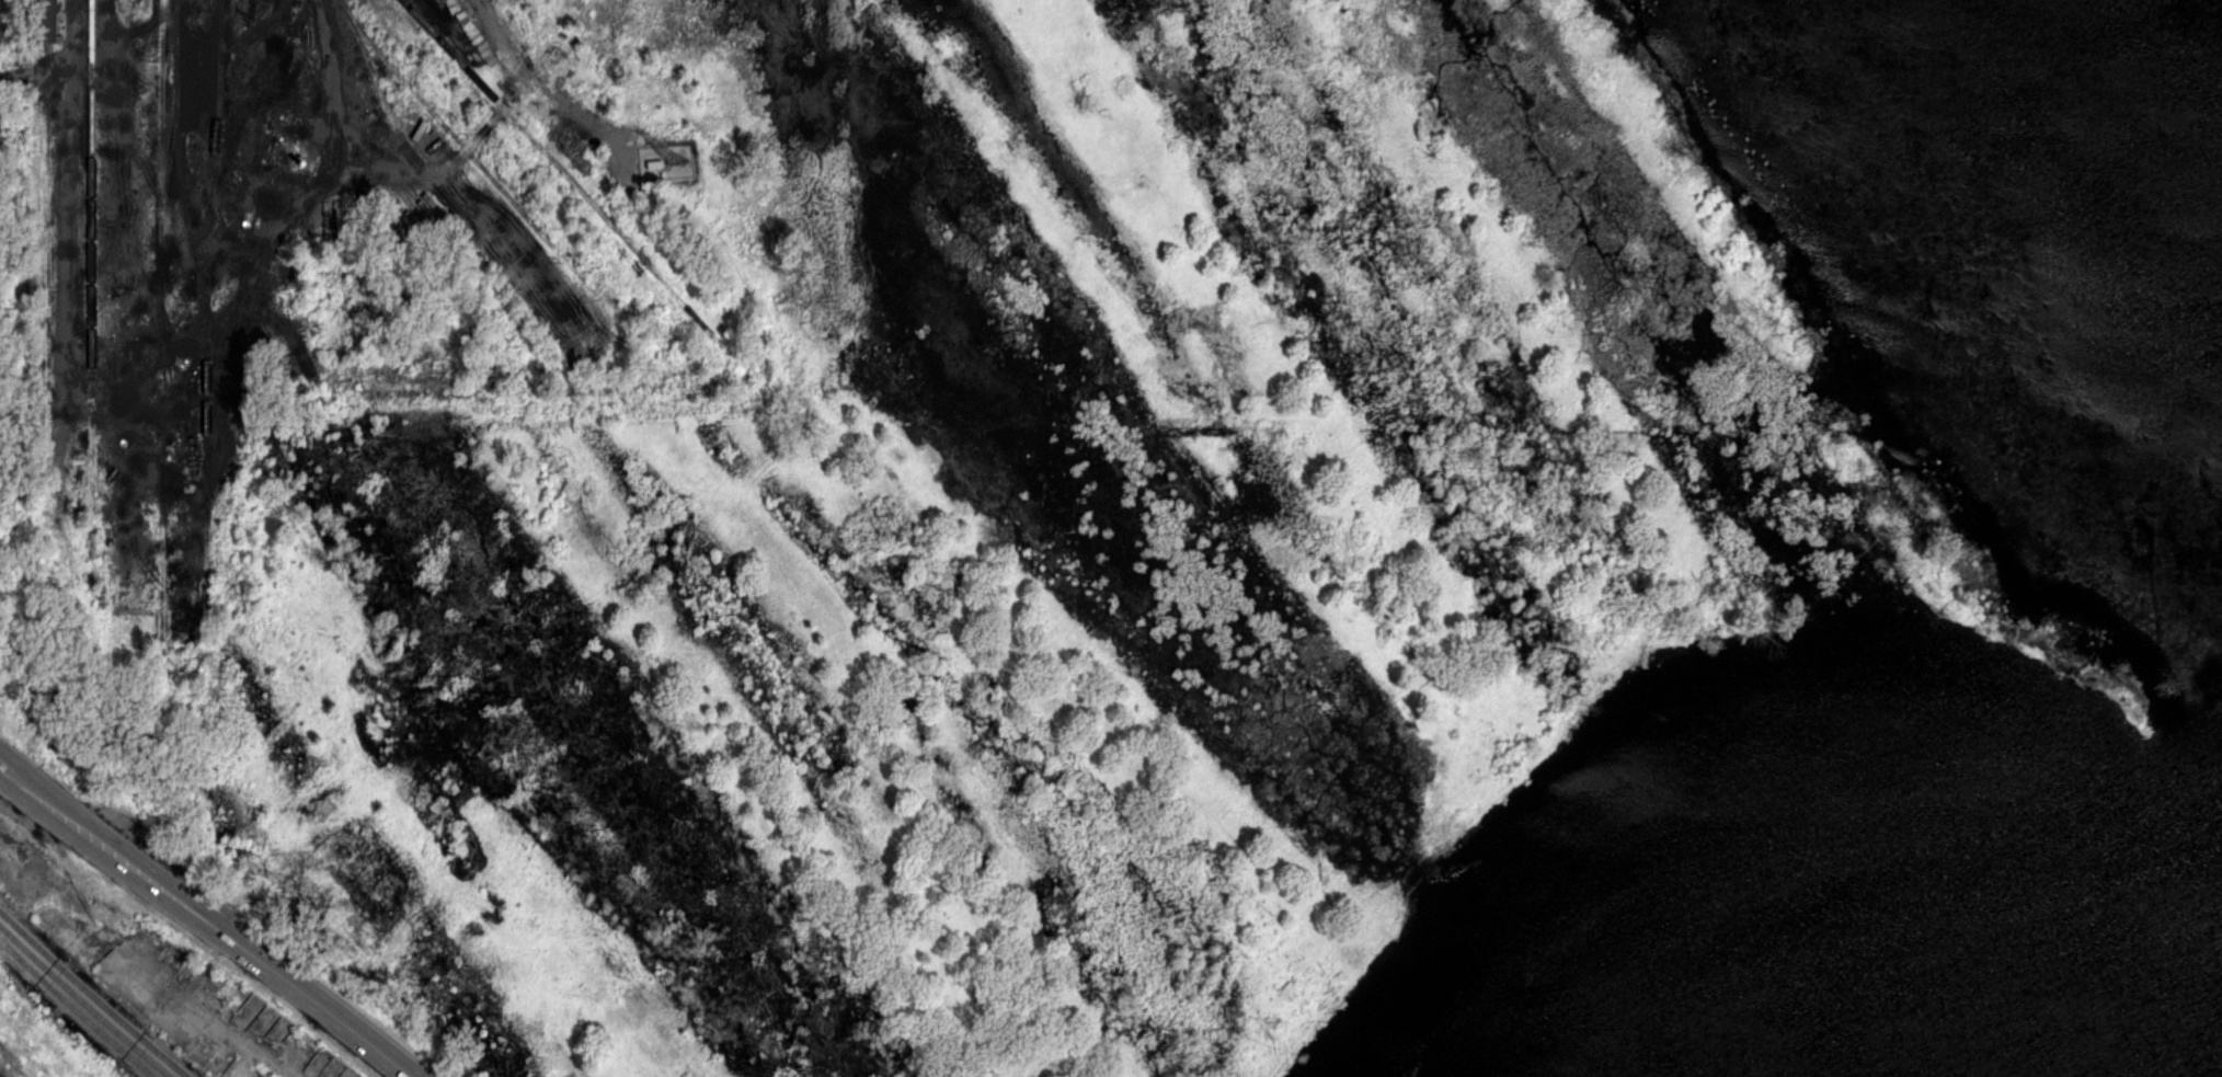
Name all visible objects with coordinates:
building: (39, 21)
railway: (531, 23)
railway: (103, 25)
railway: (237, 104)
railway: (480, 164)
building: (655, 165)
railway: (561, 170)
railway: (180, 180)
railway: (35, 193)
railway: (48, 234)
railway: (207, 320)
railway: (92, 321)
railway: (162, 362)
road: (5, 768)
road: (211, 926)
railway: (91, 996)
railway: (83, 1002)
railway: (75, 1009)

